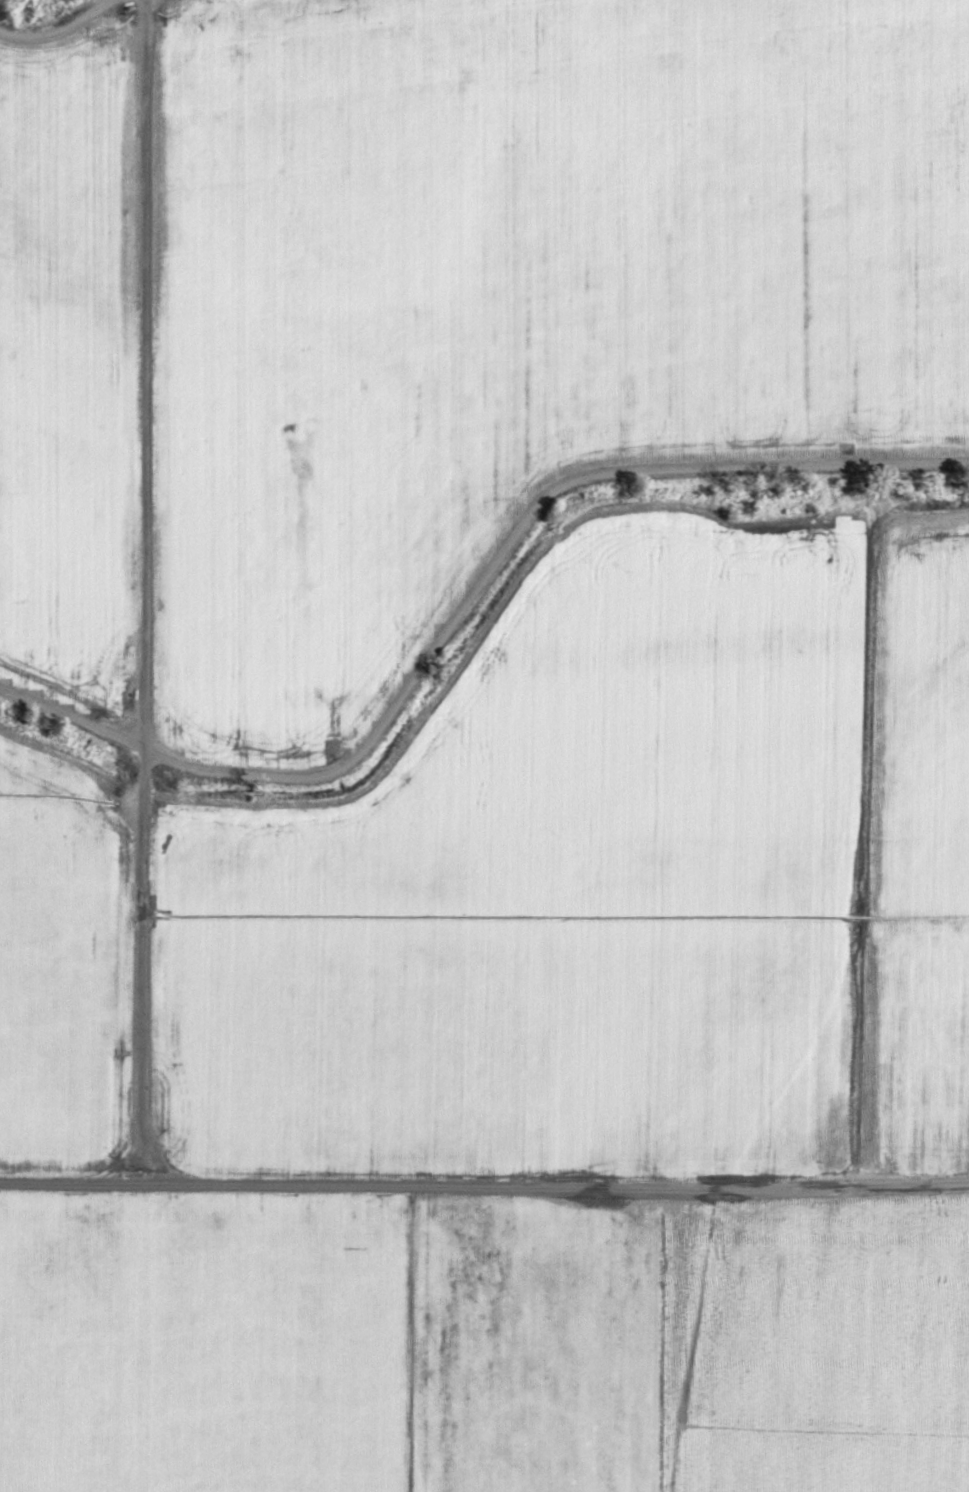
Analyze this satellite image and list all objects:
road: (141, 745)
road: (484, 1185)

